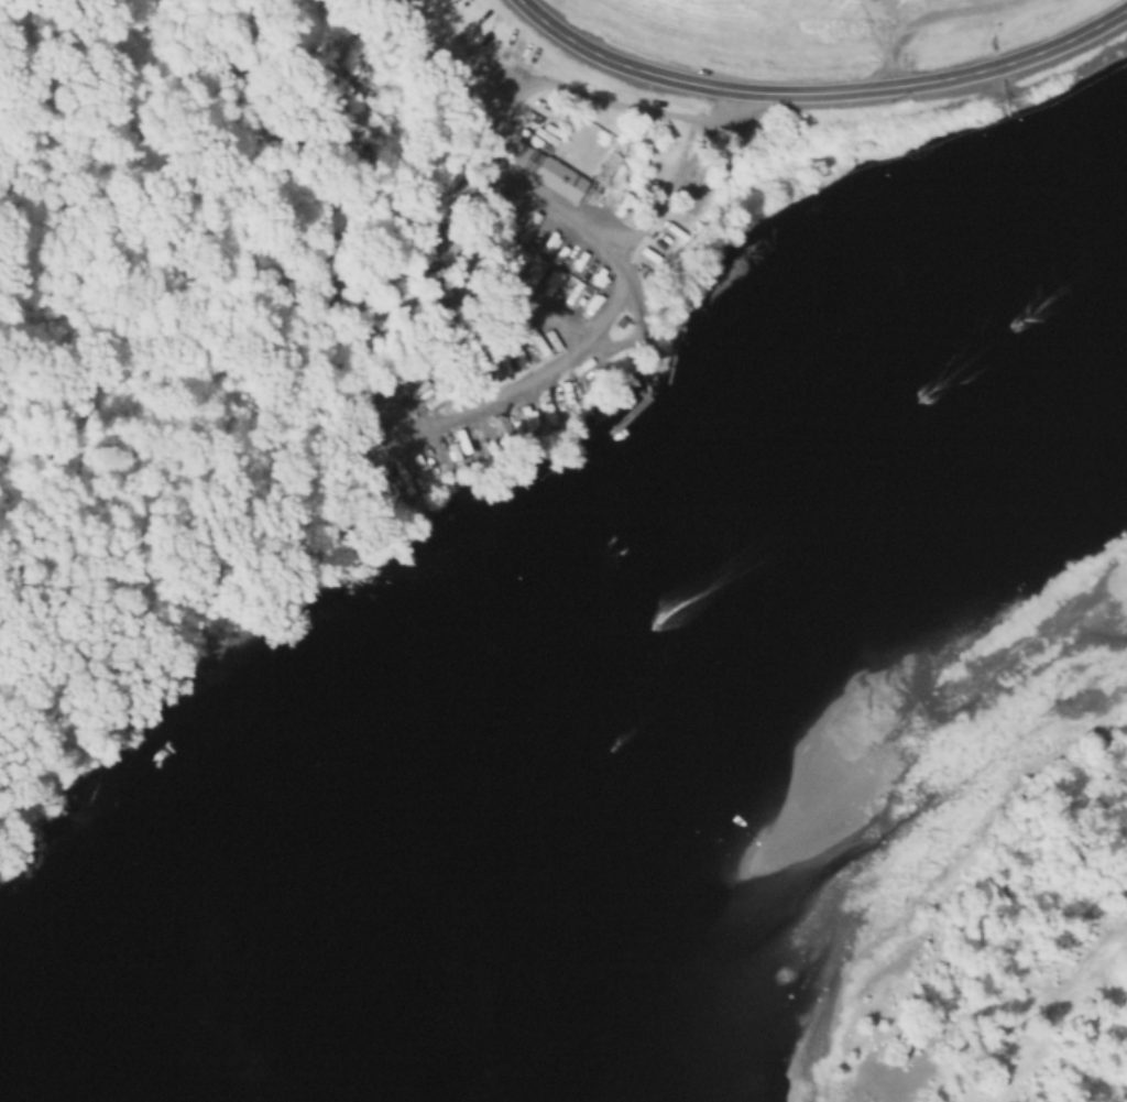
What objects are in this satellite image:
crop: (812, 21)
road: (945, 24)
road: (878, 81)
road: (819, 91)
road: (510, 99)
road: (118, 161)
building: (669, 161)
building: (556, 178)
building: (652, 206)
road: (620, 286)
river: (648, 636)

